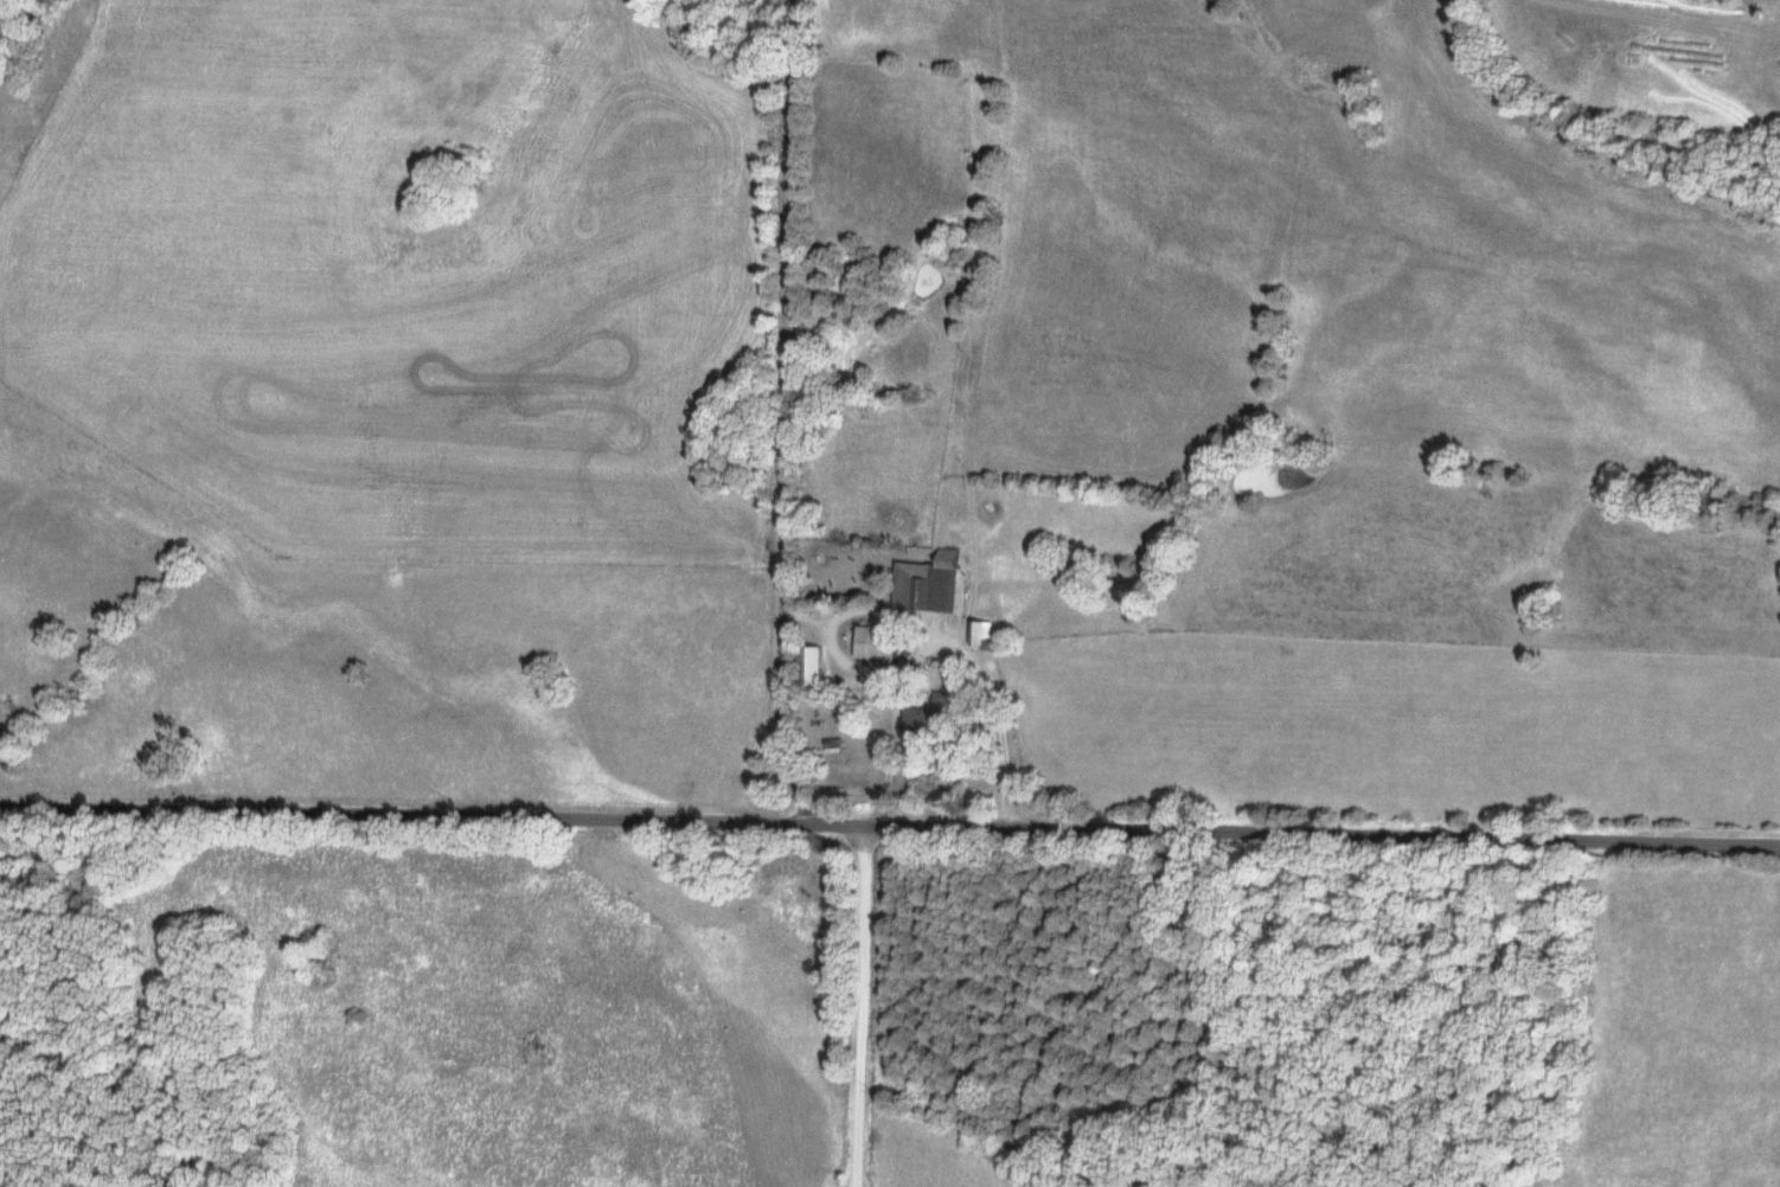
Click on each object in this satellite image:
road: (783, 408)
building: (931, 583)
building: (984, 633)
road: (945, 634)
building: (879, 642)
building: (813, 665)
building: (929, 718)
road: (890, 817)
road: (858, 1002)

